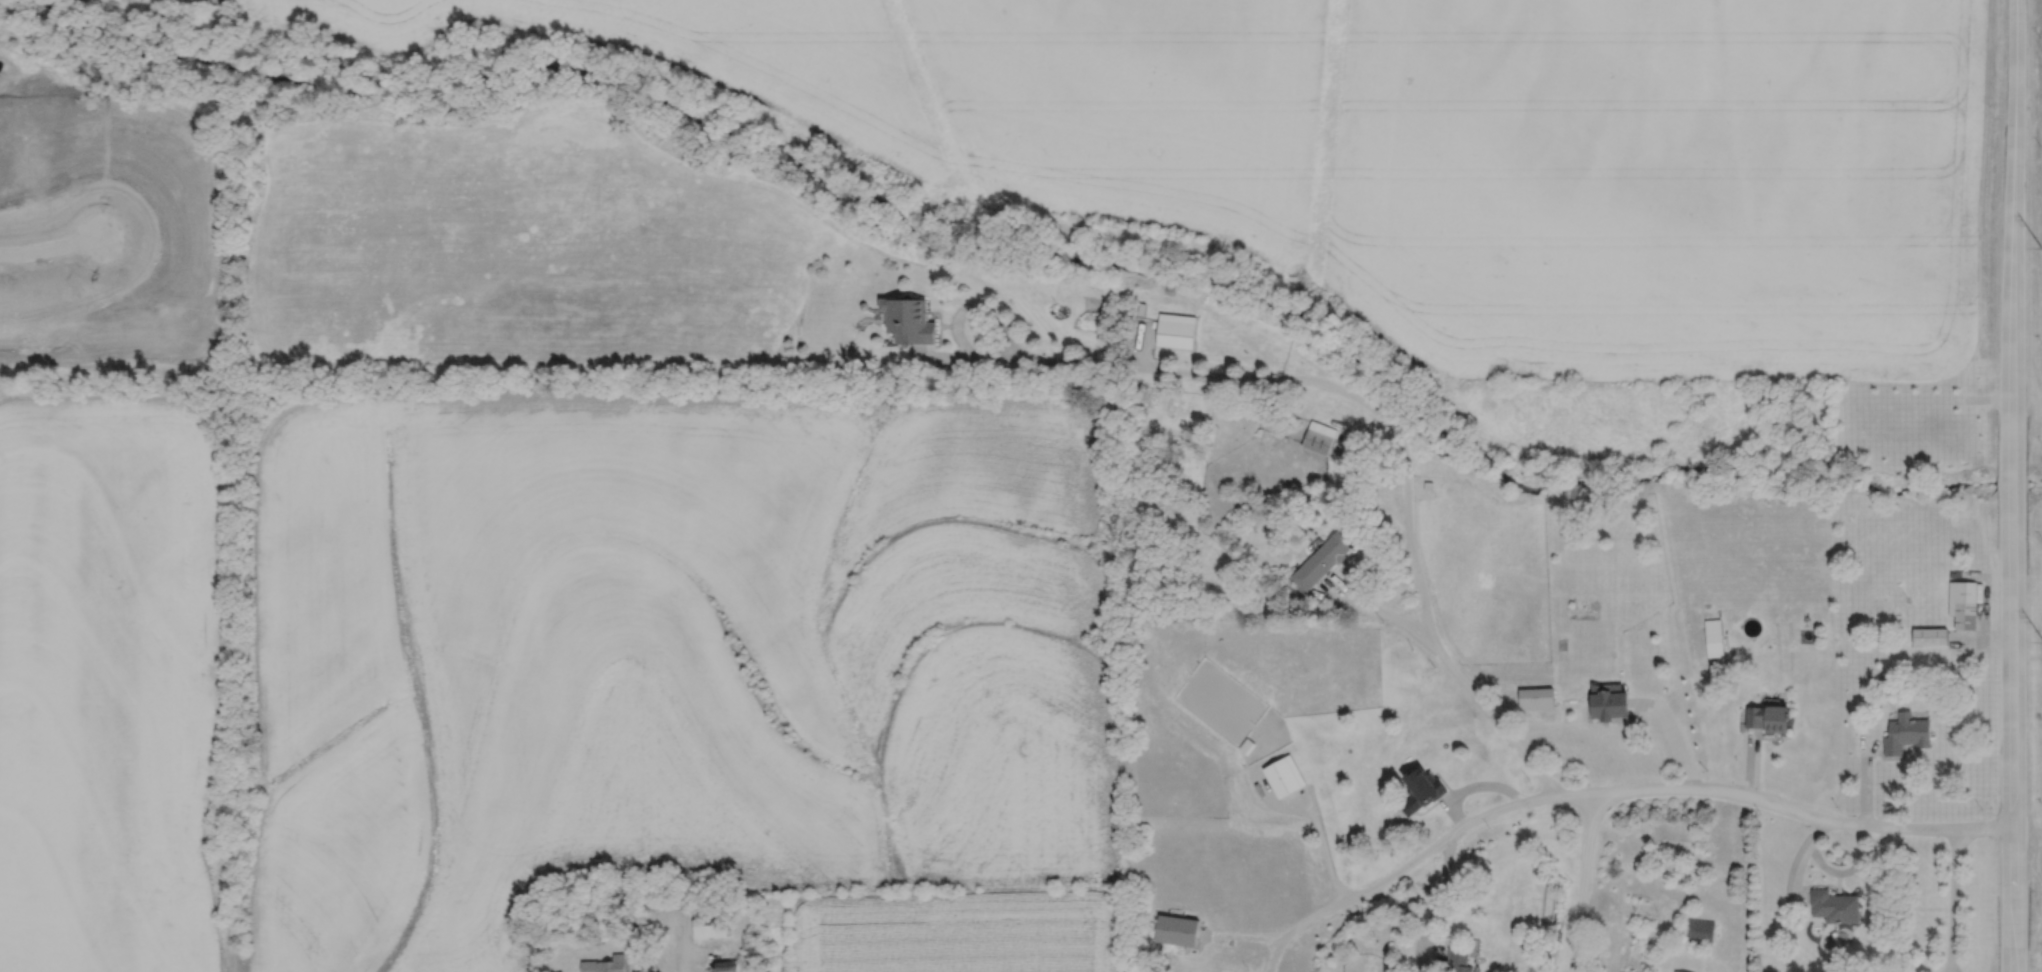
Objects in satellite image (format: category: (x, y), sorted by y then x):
crop: (1424, 151)
road: (2013, 228)
road: (51, 247)
power tower: (2041, 247)
road: (978, 303)
building: (862, 304)
building: (1141, 306)
building: (907, 318)
building: (1175, 329)
road: (1140, 343)
road: (1258, 376)
building: (1257, 431)
building: (1318, 436)
road: (2011, 478)
building: (1427, 484)
building: (1320, 560)
building: (1961, 603)
road: (1370, 605)
road: (1981, 627)
building: (1928, 636)
building: (1712, 637)
road: (1965, 638)
crop: (553, 681)
building: (1535, 698)
building: (1607, 705)
road: (1489, 708)
building: (1767, 716)
road: (2012, 722)
road: (1670, 731)
building: (1904, 733)
building: (1246, 744)
road: (1746, 762)
building: (1284, 774)
road: (1865, 778)
road: (1470, 786)
building: (1421, 787)
road: (1729, 790)
road: (1313, 817)
road: (1797, 860)
road: (1849, 869)
road: (1582, 881)
building: (686, 895)
building: (1406, 895)
road: (1351, 896)
road: (1953, 899)
road: (1434, 902)
building: (1834, 904)
building: (709, 921)
building: (1176, 928)
building: (1699, 929)
road: (1242, 934)
building: (745, 941)
building: (1155, 944)
road: (683, 946)
road: (2013, 959)
building: (1458, 960)
building: (606, 964)
building: (727, 965)
building: (1680, 971)

